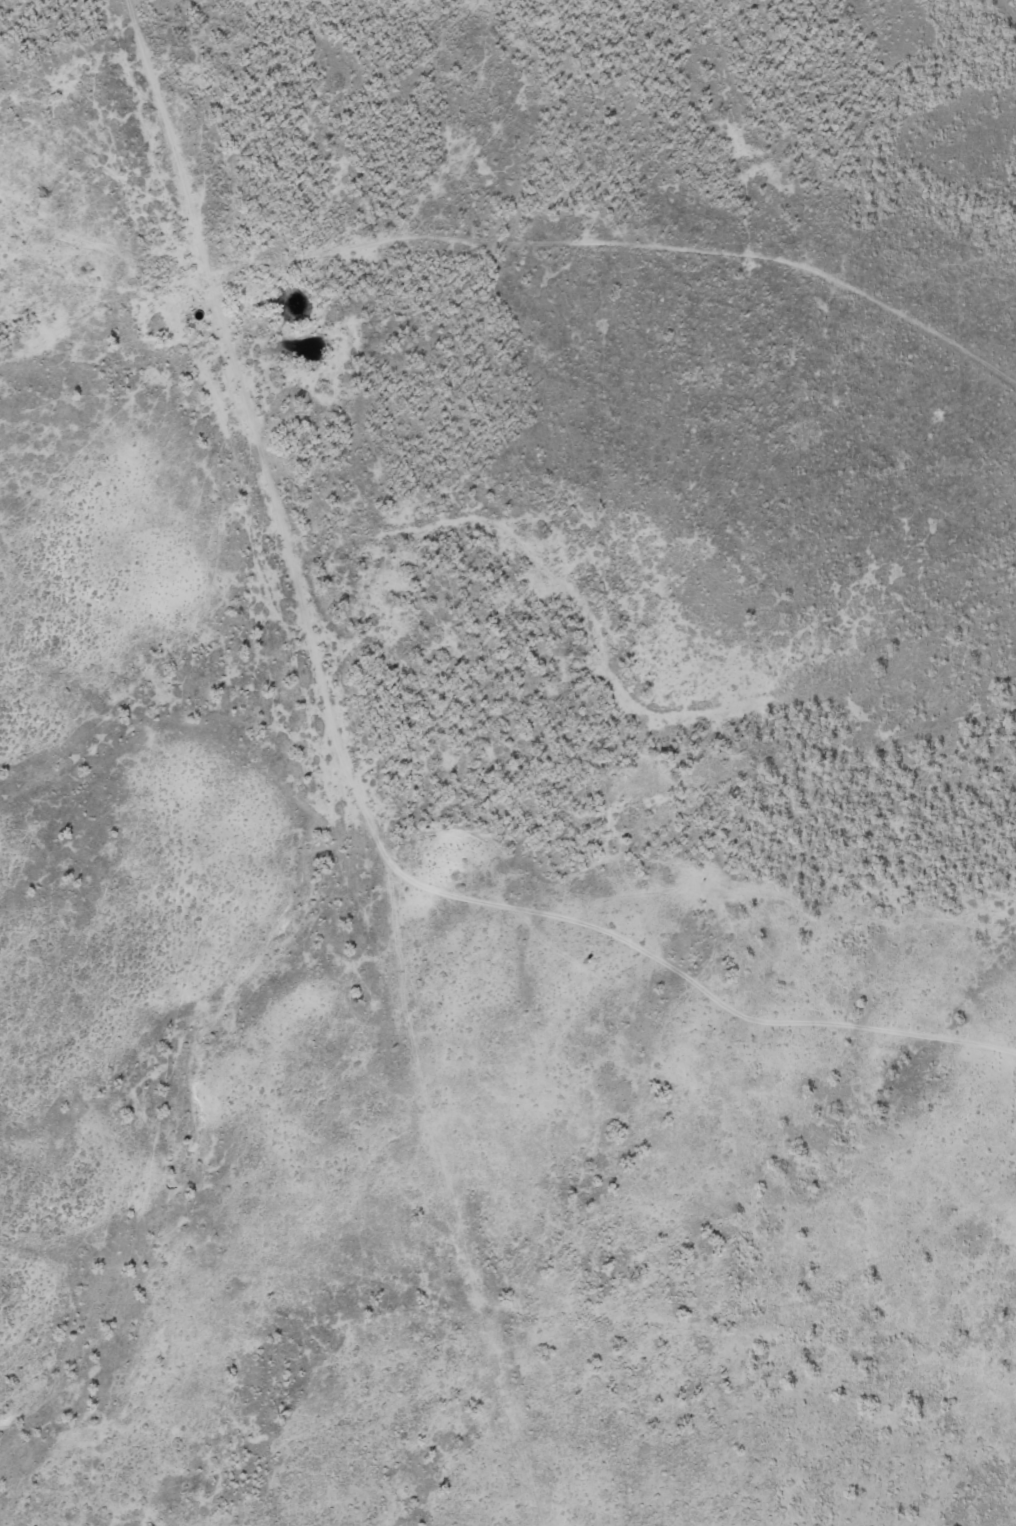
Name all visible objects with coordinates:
road: (626, 250)
road: (344, 756)
road: (465, 1193)

